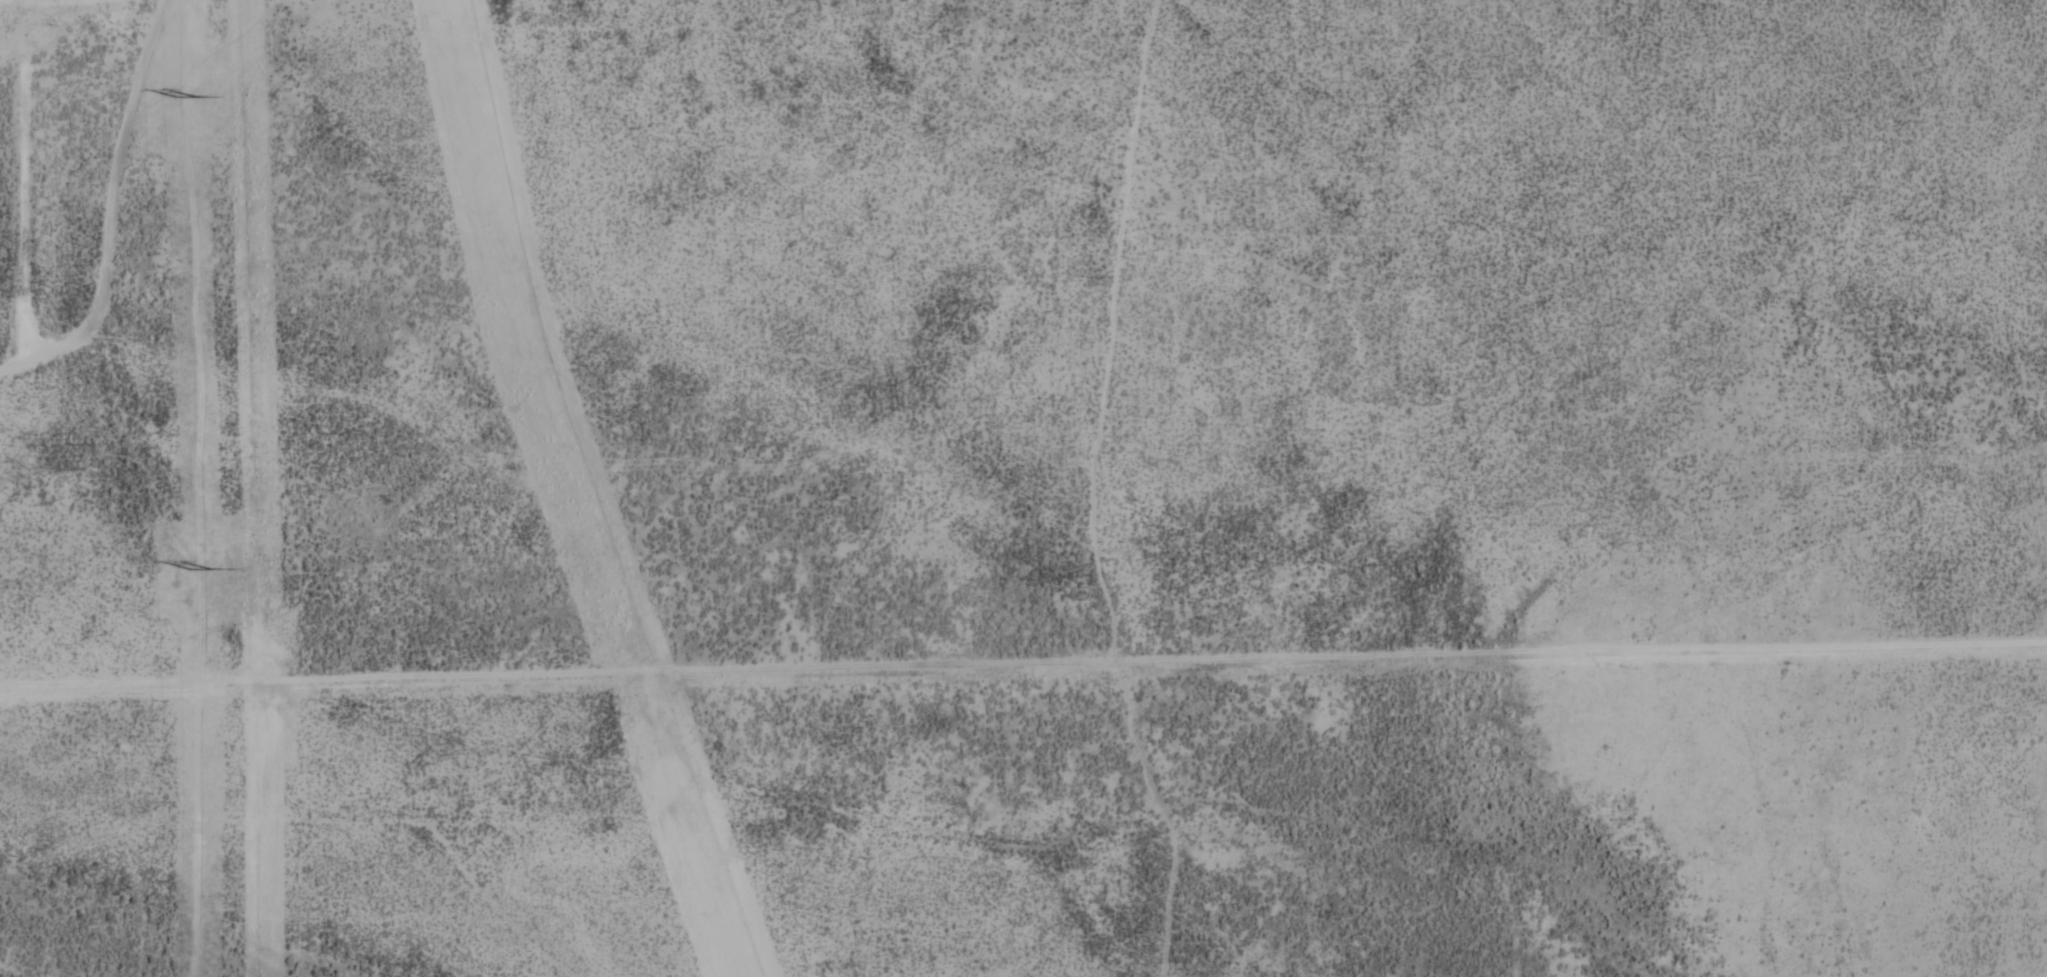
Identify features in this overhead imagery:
power tower: (176, 96)
road: (113, 215)
power tower: (191, 565)

